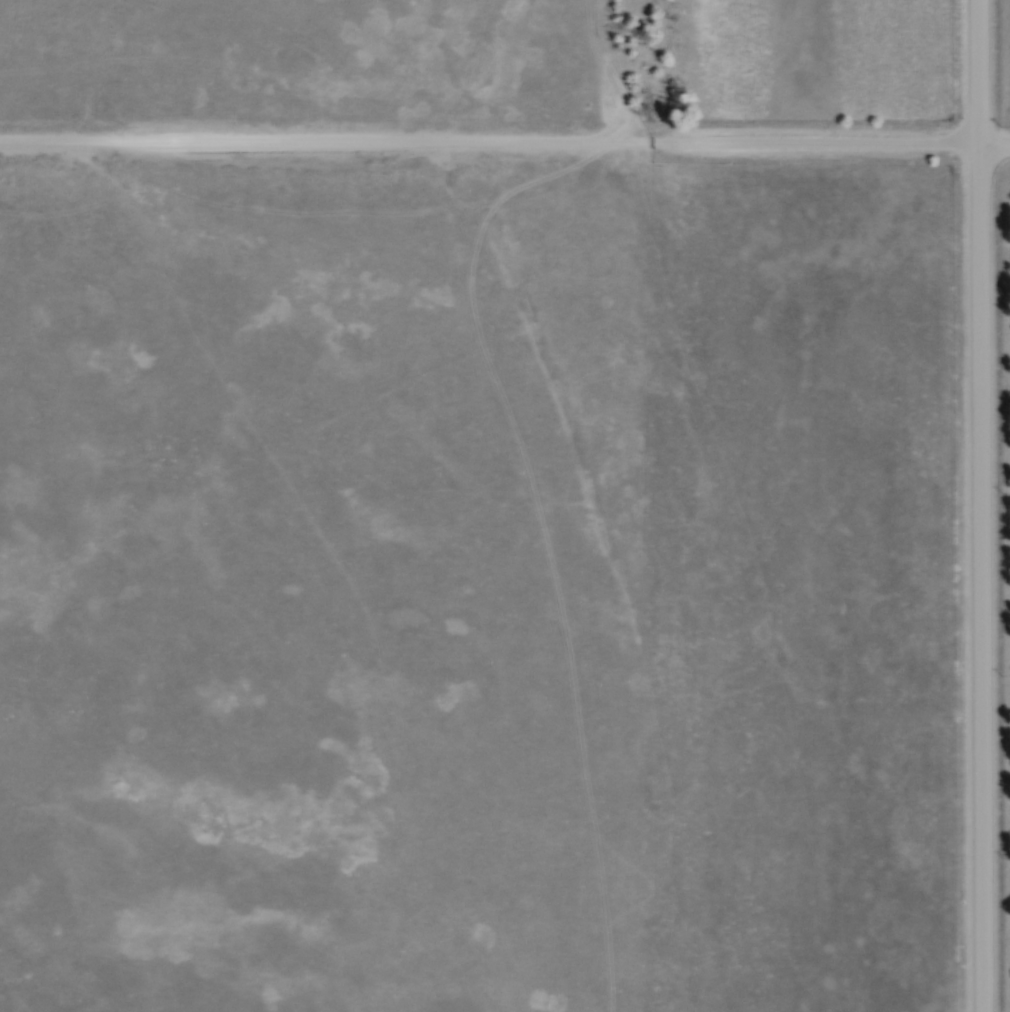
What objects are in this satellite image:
crop: (817, 59)
road: (504, 141)
road: (974, 505)

